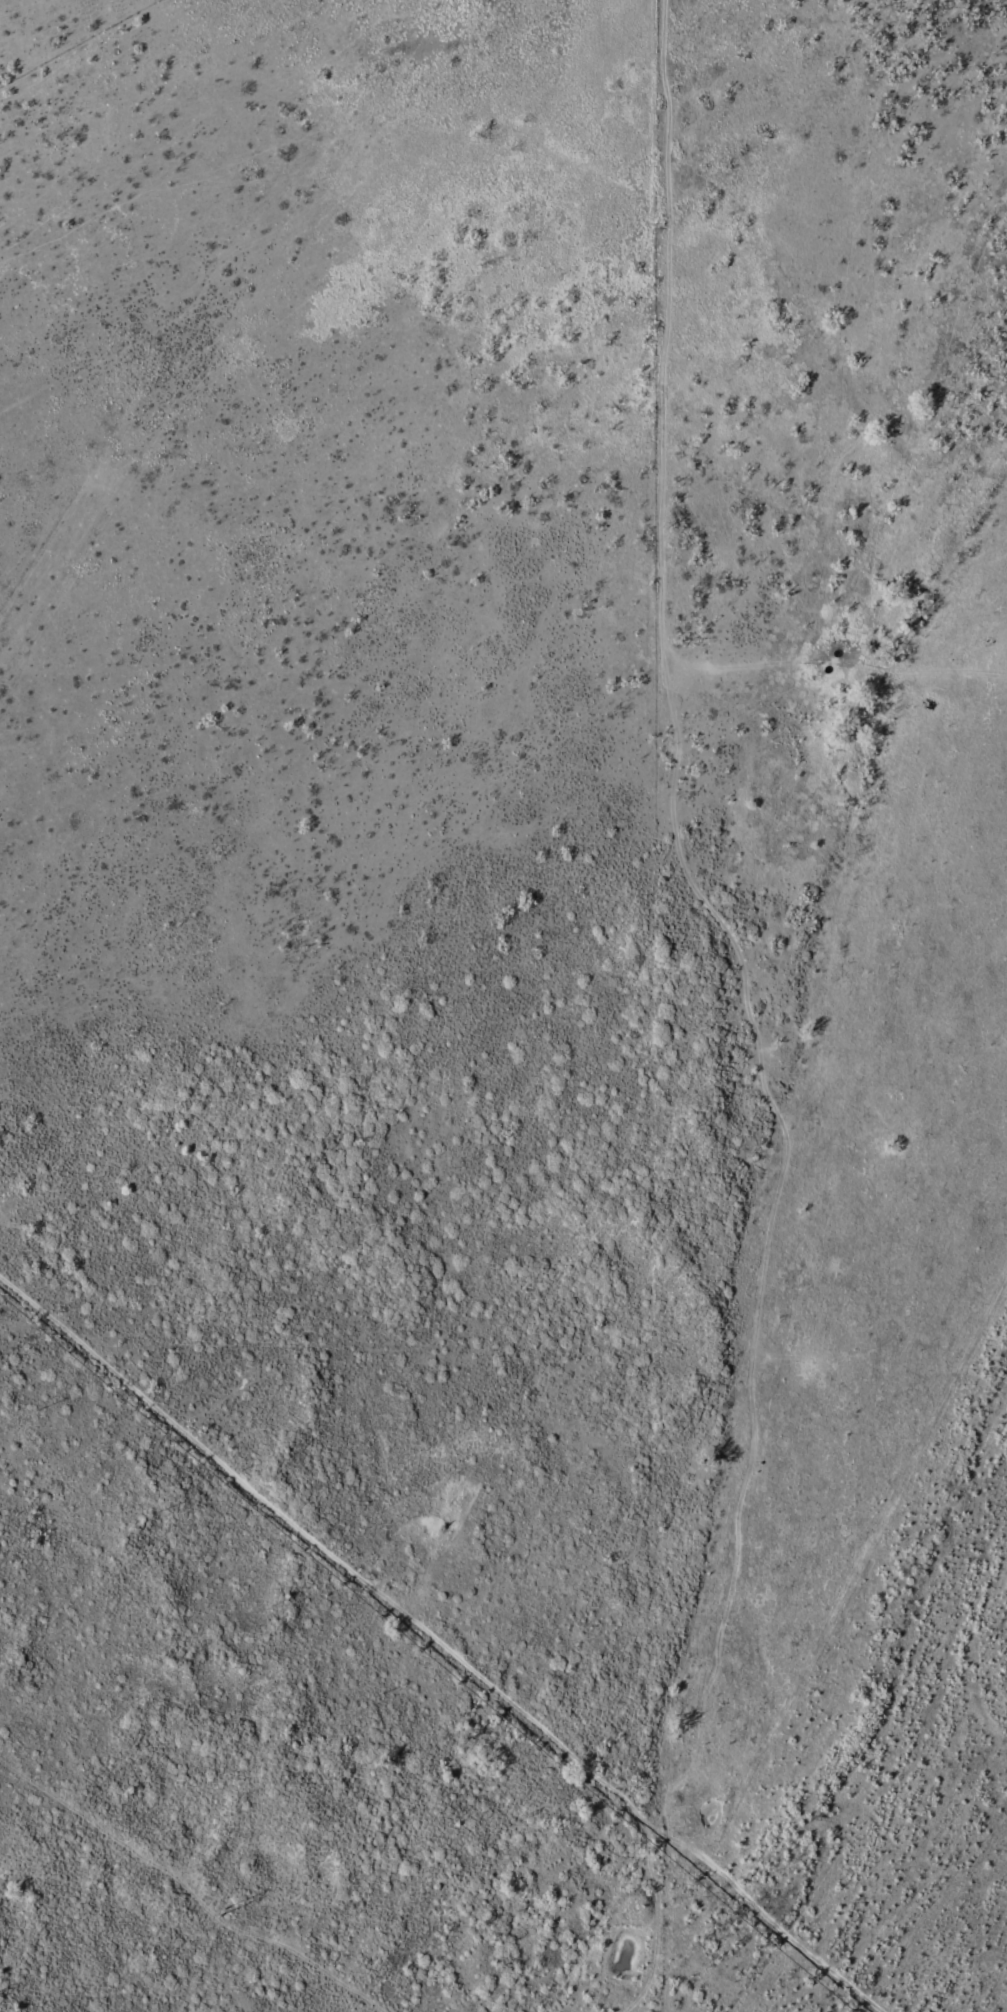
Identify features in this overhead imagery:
power tower: (225, 1911)

